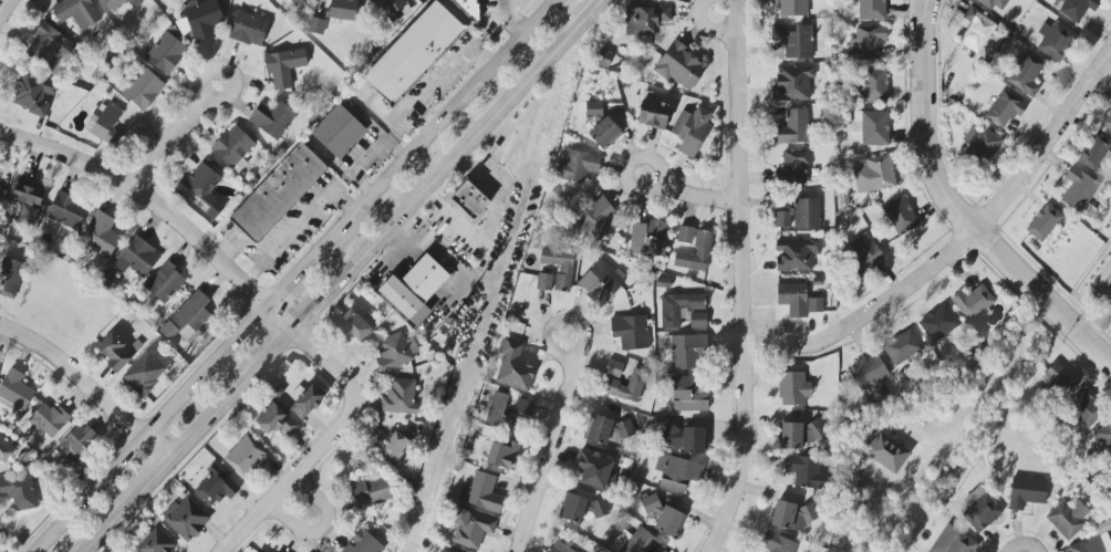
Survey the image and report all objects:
building: (295, 2)
building: (121, 3)
building: (995, 4)
building: (792, 8)
building: (1078, 8)
building: (343, 10)
building: (393, 10)
building: (871, 10)
building: (75, 12)
road: (4, 14)
road: (583, 15)
road: (510, 17)
building: (201, 19)
building: (645, 19)
road: (927, 20)
road: (915, 21)
building: (183, 25)
building: (315, 25)
road: (706, 27)
building: (248, 29)
building: (976, 30)
building: (795, 41)
building: (1053, 41)
building: (866, 43)
building: (44, 44)
building: (166, 53)
building: (413, 53)
building: (603, 58)
building: (283, 66)
building: (681, 66)
building: (1026, 75)
building: (792, 83)
building: (873, 85)
building: (143, 88)
building: (33, 95)
building: (1004, 108)
building: (593, 110)
building: (653, 114)
road: (446, 116)
building: (272, 119)
building: (1107, 122)
building: (105, 123)
building: (792, 128)
building: (874, 128)
building: (691, 131)
building: (338, 132)
building: (604, 134)
road: (178, 139)
building: (980, 145)
building: (232, 148)
building: (1093, 152)
road: (636, 157)
building: (577, 166)
building: (791, 168)
building: (874, 175)
road: (432, 180)
building: (200, 186)
building: (1078, 189)
building: (278, 192)
building: (1, 194)
road: (698, 196)
road: (147, 198)
building: (468, 200)
building: (25, 201)
building: (66, 210)
building: (806, 213)
building: (900, 216)
building: (596, 219)
building: (782, 219)
building: (1042, 223)
road: (972, 225)
building: (100, 235)
building: (685, 235)
building: (647, 239)
road: (958, 243)
building: (864, 252)
building: (695, 253)
building: (796, 254)
building: (136, 258)
building: (559, 265)
road: (303, 269)
building: (10, 278)
road: (741, 279)
building: (543, 282)
building: (600, 282)
building: (164, 283)
building: (414, 289)
building: (792, 299)
building: (814, 305)
building: (678, 308)
road: (281, 317)
building: (187, 319)
road: (559, 321)
building: (697, 321)
building: (937, 323)
road: (1097, 324)
building: (353, 326)
building: (630, 332)
building: (901, 347)
building: (117, 351)
building: (396, 351)
building: (687, 351)
road: (270, 355)
road: (326, 361)
building: (513, 368)
building: (613, 368)
building: (869, 375)
road: (991, 376)
building: (1058, 378)
building: (625, 386)
road: (89, 387)
building: (792, 388)
building: (14, 390)
building: (688, 394)
building: (399, 397)
building: (307, 402)
building: (1083, 408)
building: (507, 414)
building: (49, 420)
road: (207, 420)
building: (274, 420)
road: (149, 427)
building: (608, 430)
building: (798, 434)
building: (1104, 437)
building: (685, 439)
building: (77, 444)
building: (388, 444)
building: (6, 449)
building: (886, 452)
road: (547, 454)
building: (502, 455)
building: (246, 457)
building: (802, 470)
building: (594, 472)
building: (676, 472)
road: (292, 477)
building: (215, 487)
building: (19, 490)
road: (141, 491)
building: (371, 491)
building: (480, 492)
building: (1026, 492)
building: (572, 508)
building: (598, 509)
building: (979, 510)
building: (790, 515)
building: (663, 517)
building: (186, 519)
building: (1067, 519)
building: (1103, 527)
road: (322, 528)
building: (471, 529)
road: (98, 537)
building: (953, 541)
building: (154, 542)
building: (637, 542)
building: (363, 543)
building: (778, 543)
road: (1024, 544)
building: (1092, 544)
building: (559, 548)
building: (257, 551)
building: (277, 551)
building: (439, 551)

